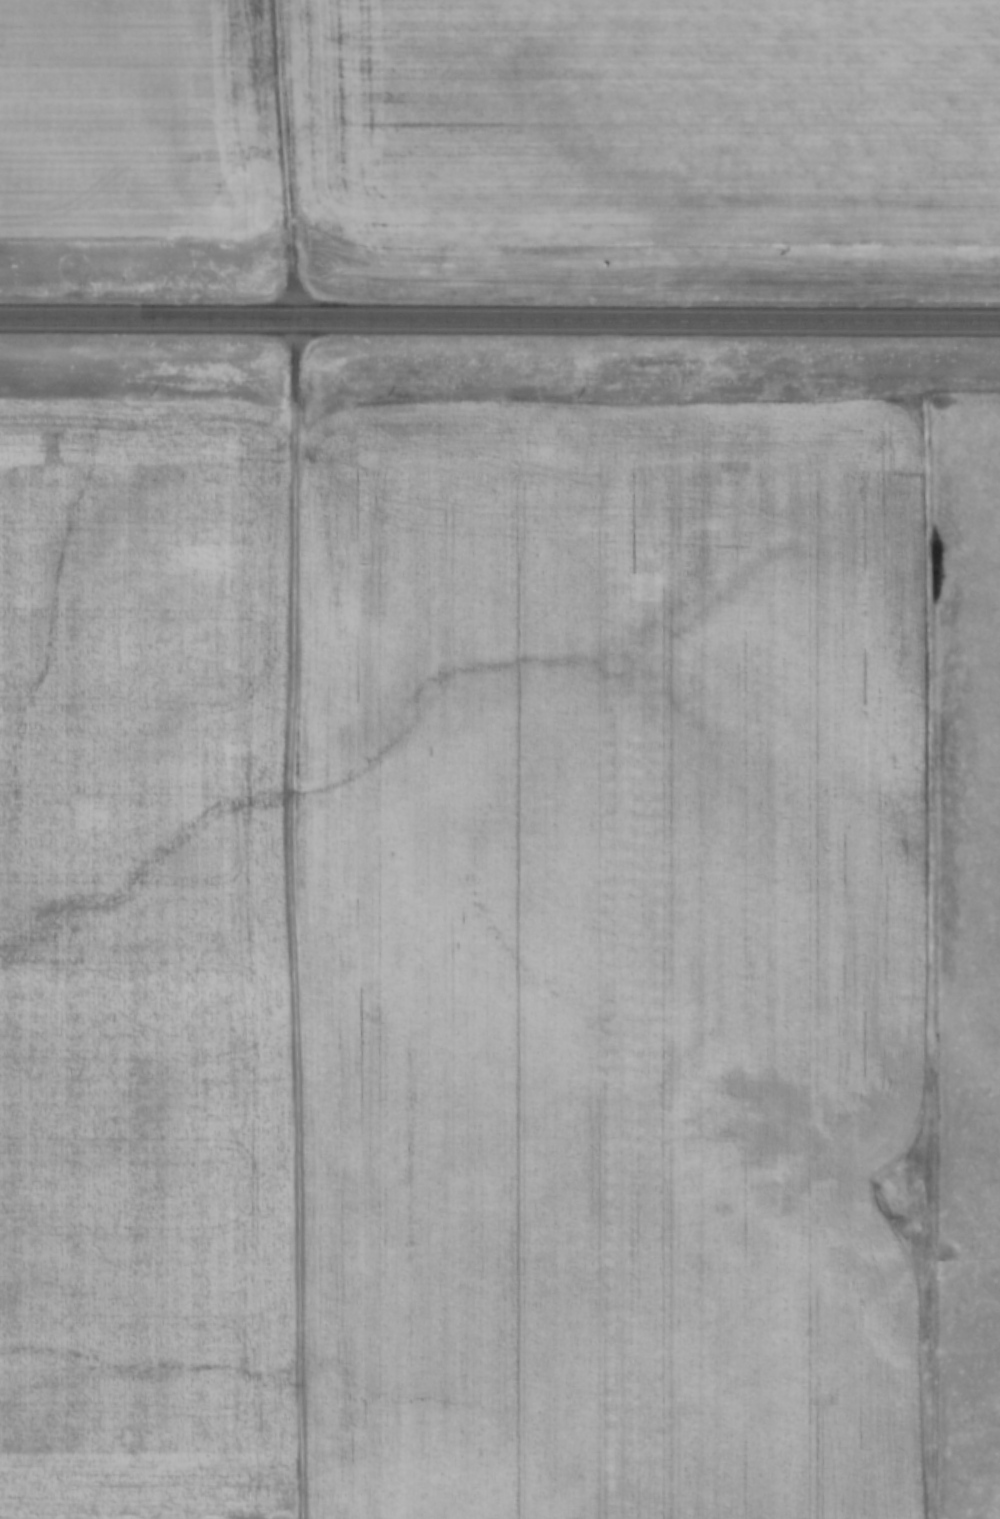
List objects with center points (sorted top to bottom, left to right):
road: (500, 335)
road: (294, 926)

